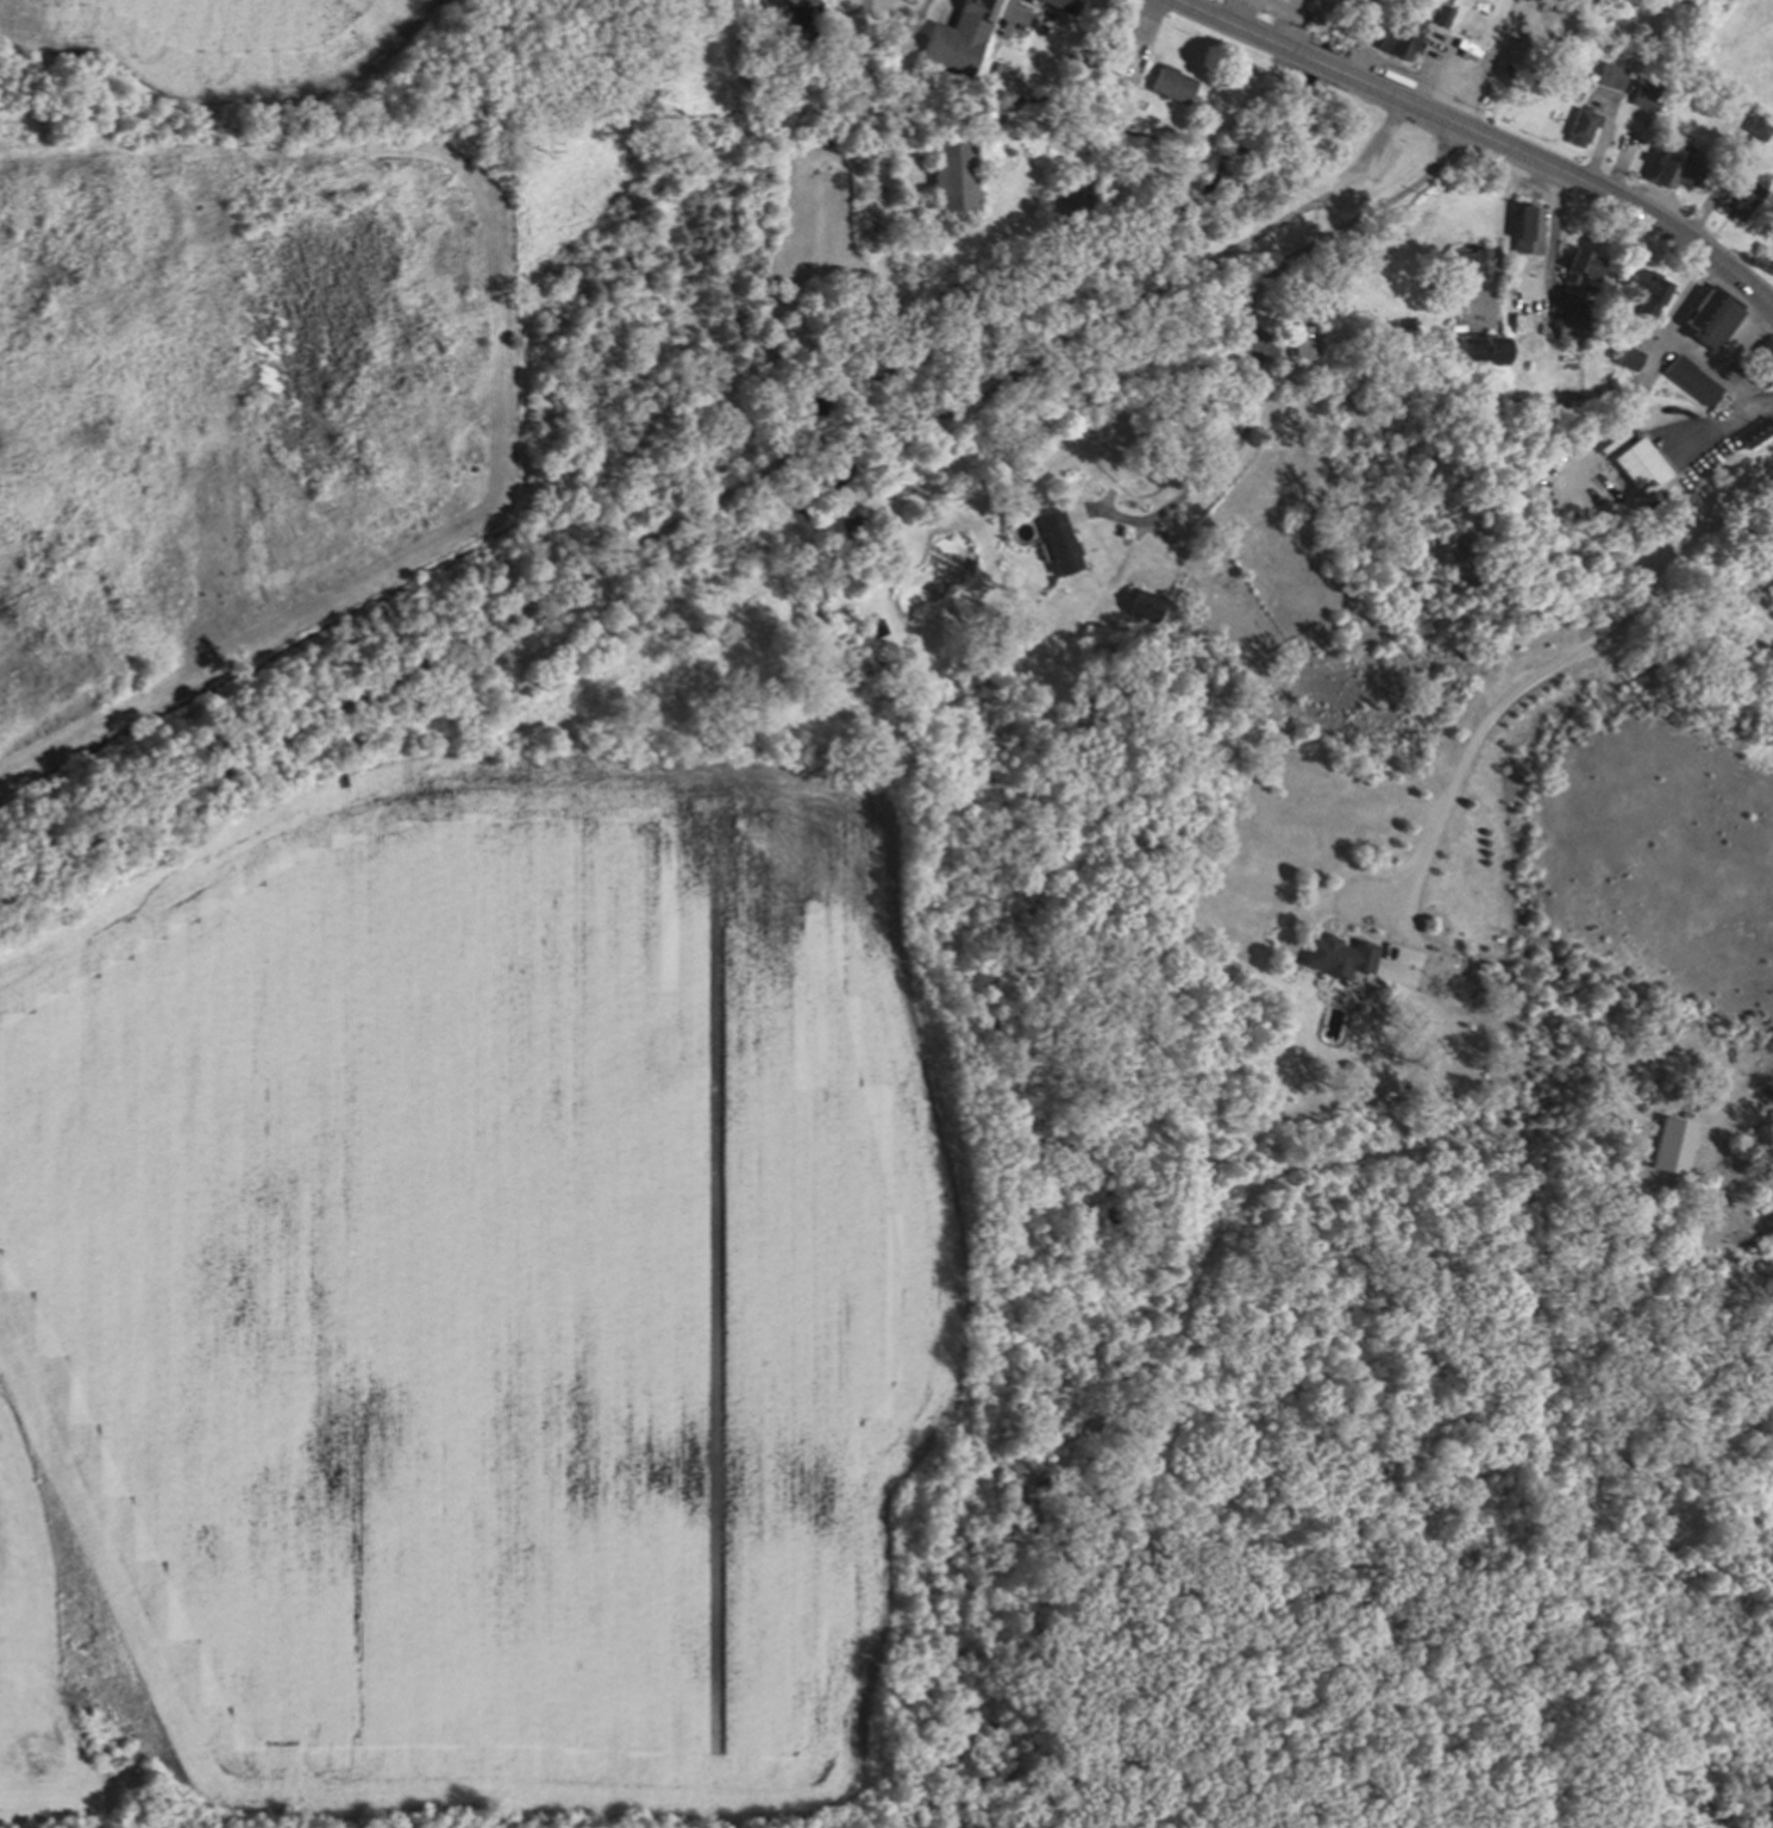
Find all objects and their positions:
road: (1167, 0)
building: (1058, 5)
building: (1437, 14)
road: (1296, 15)
building: (957, 36)
building: (1398, 36)
building: (1108, 55)
building: (1119, 57)
road: (1492, 63)
building: (1611, 70)
building: (1170, 84)
building: (1644, 94)
building: (1581, 127)
building: (1759, 127)
road: (1382, 132)
road: (1487, 134)
parking lot: (1374, 157)
building: (1675, 164)
building: (951, 177)
building: (1738, 194)
building: (1529, 225)
building: (1467, 261)
building: (1580, 262)
building: (1642, 292)
building: (1711, 321)
building: (1567, 324)
road: (1253, 325)
building: (1303, 327)
building: (1479, 346)
road: (1691, 348)
building: (1629, 358)
building: (1761, 364)
building: (1274, 370)
building: (1693, 378)
road: (1742, 386)
road: (1721, 426)
building: (1752, 434)
building: (1644, 470)
building: (852, 531)
road: (679, 536)
building: (1057, 541)
building: (1769, 586)
building: (1708, 590)
building: (1151, 606)
building: (694, 630)
road: (1566, 668)
building: (1339, 969)
road: (1740, 1120)
building: (1671, 1142)
park: (51, 1683)

